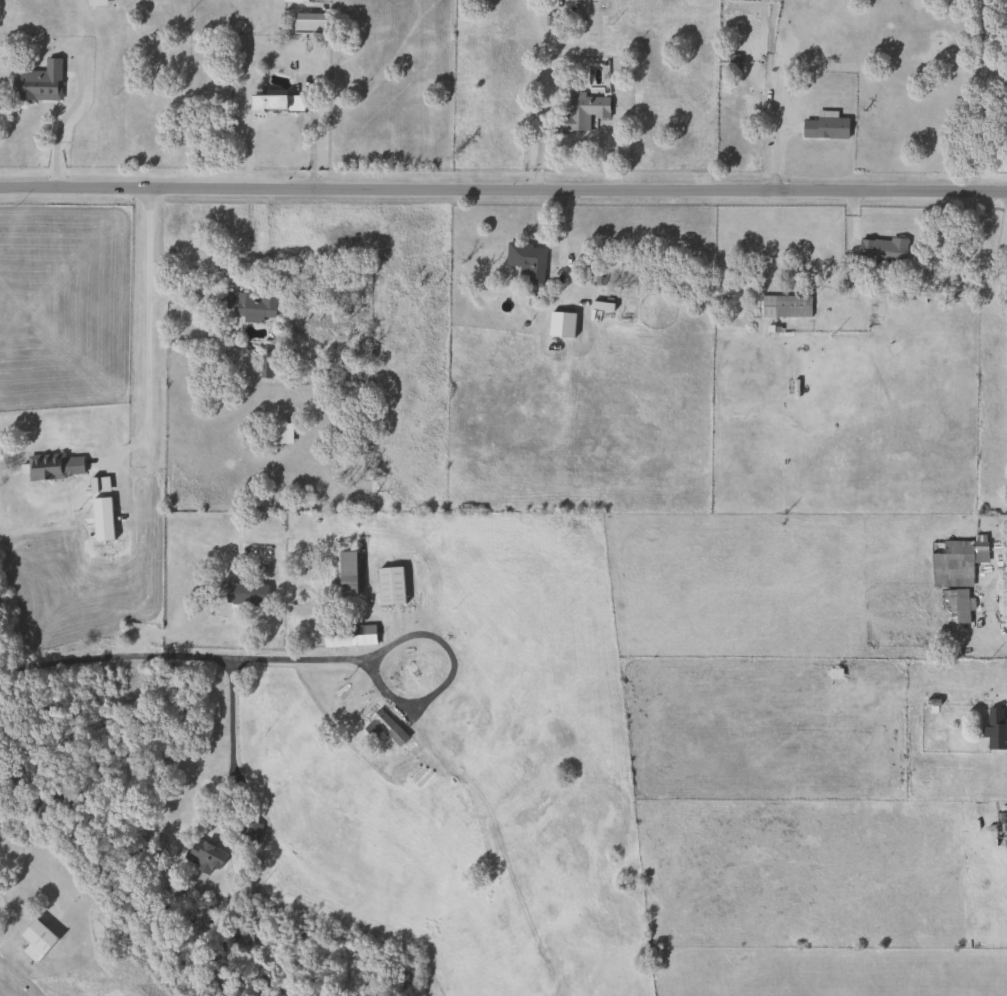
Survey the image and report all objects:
building: (295, 0)
building: (93, 2)
building: (308, 22)
building: (36, 82)
building: (276, 103)
building: (582, 111)
road: (59, 125)
building: (825, 127)
road: (503, 185)
building: (881, 250)
road: (1001, 252)
building: (527, 260)
building: (248, 304)
building: (623, 304)
building: (785, 306)
building: (874, 315)
road: (145, 318)
building: (264, 365)
building: (280, 434)
building: (54, 466)
building: (97, 484)
building: (954, 561)
building: (346, 574)
building: (389, 585)
road: (993, 585)
building: (953, 606)
road: (172, 628)
building: (348, 636)
road: (307, 661)
building: (387, 727)
road: (228, 728)
building: (994, 729)
building: (1000, 831)
building: (203, 855)
road: (8, 912)
building: (37, 939)

